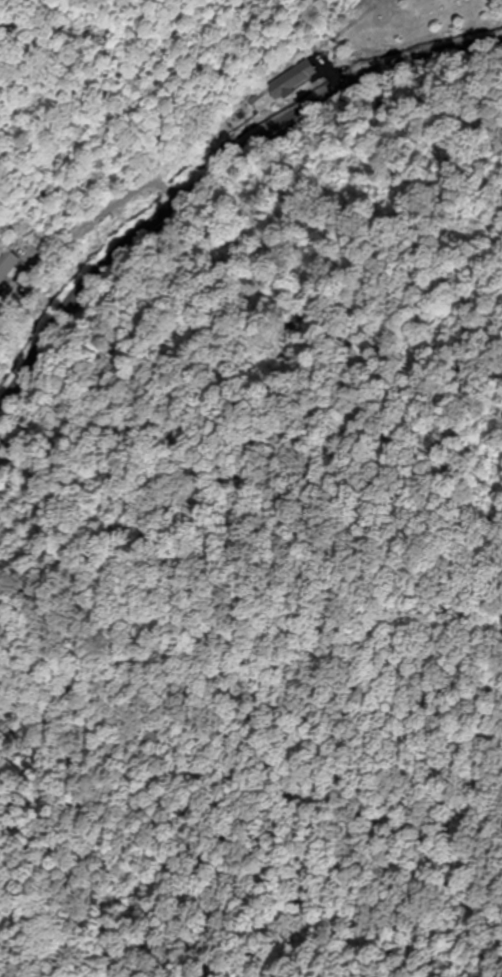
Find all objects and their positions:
building: (288, 81)
road: (220, 164)
building: (7, 265)

